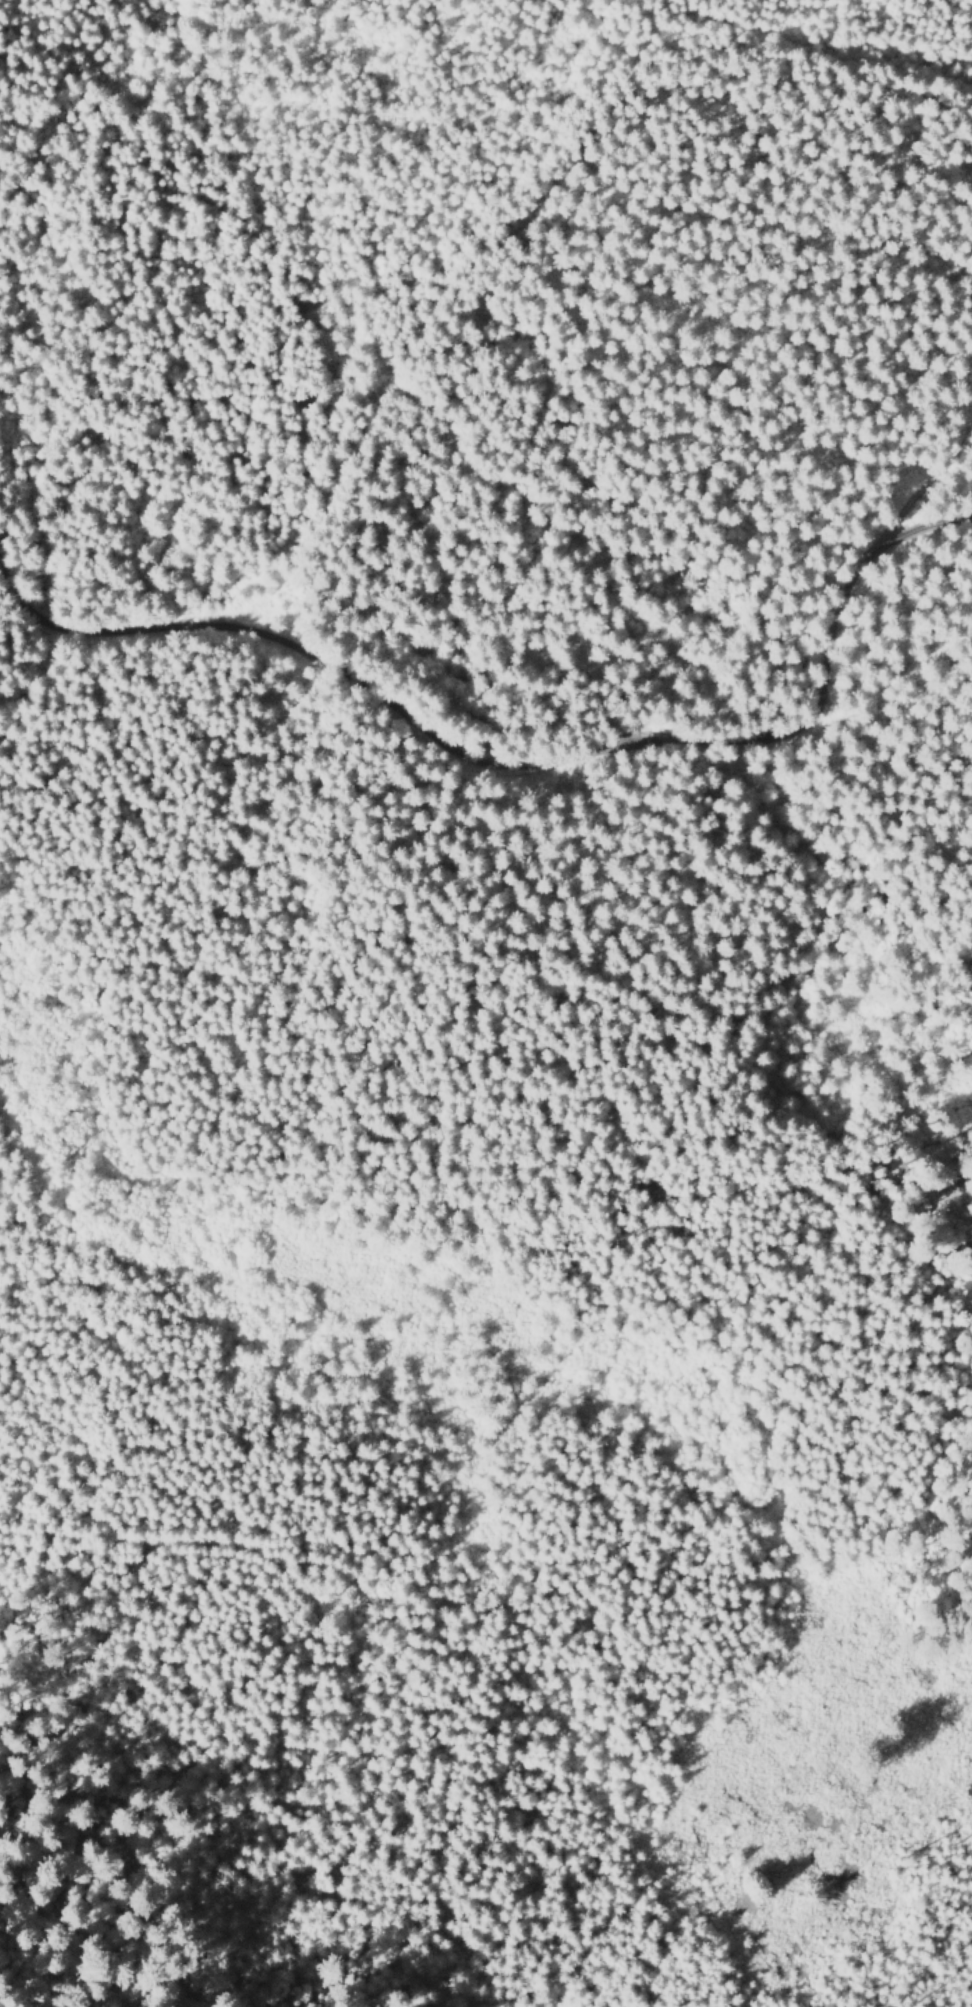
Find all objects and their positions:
road: (926, 482)
road: (521, 768)

